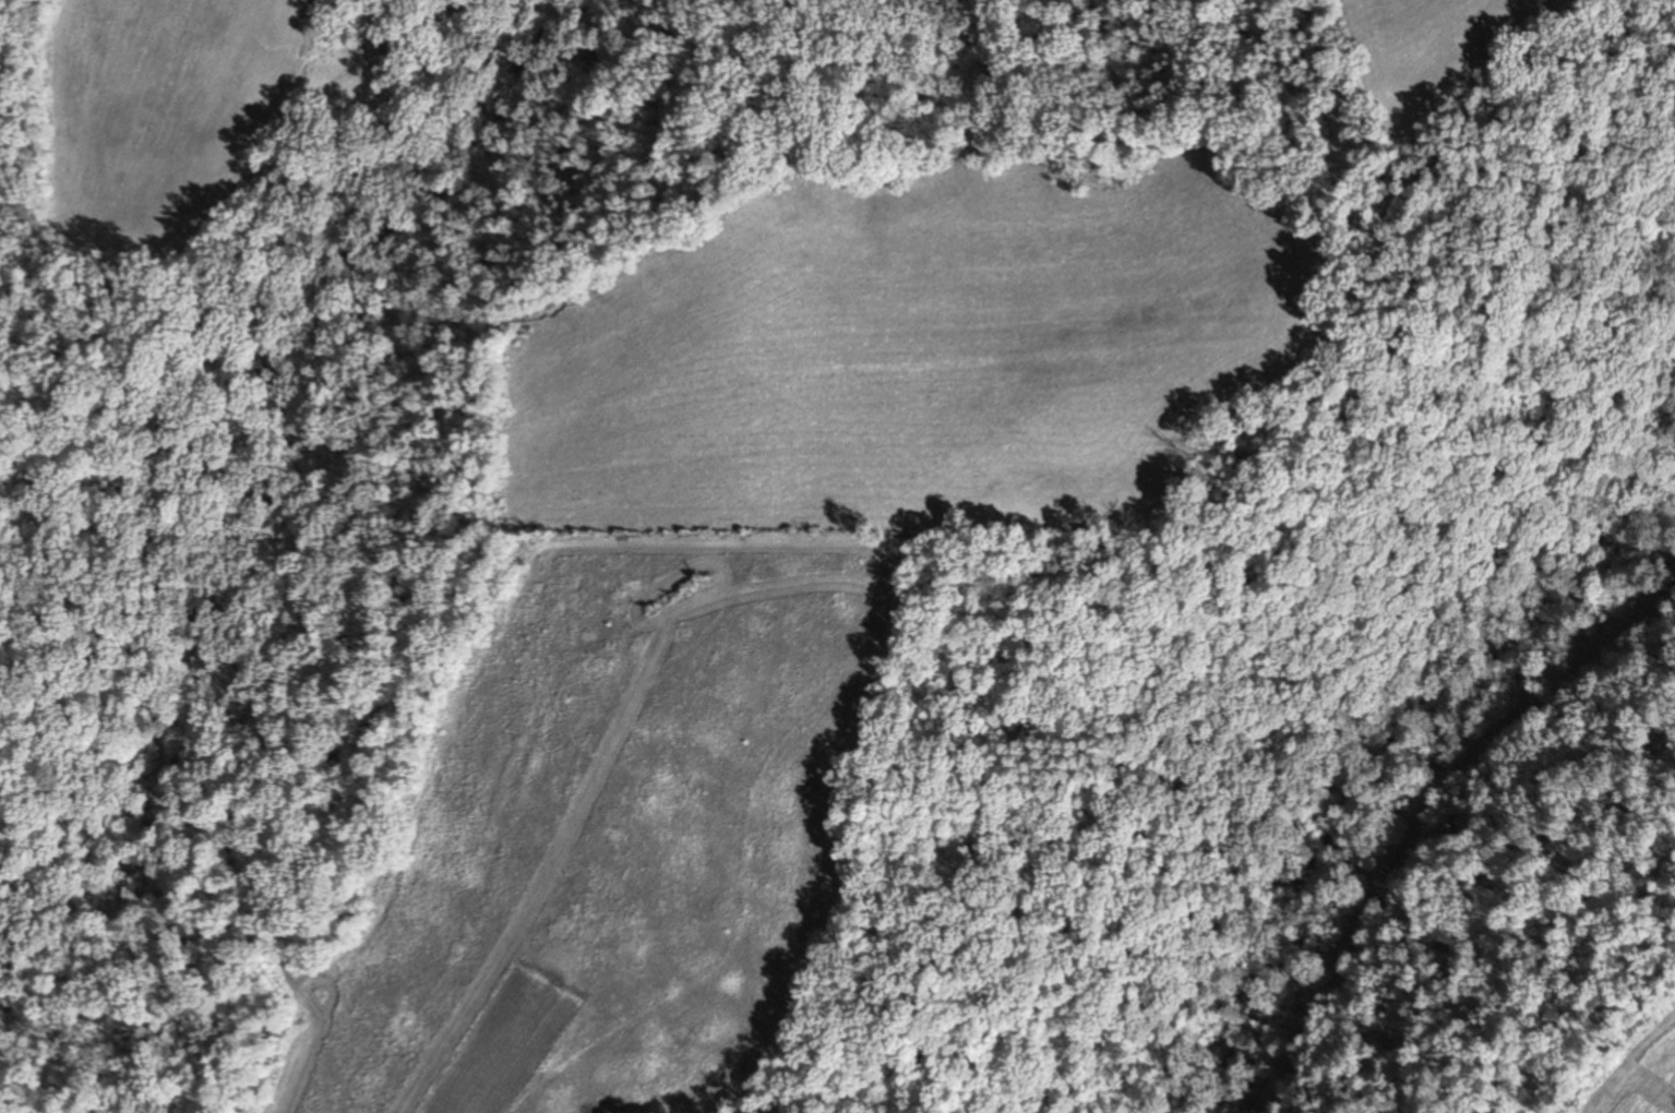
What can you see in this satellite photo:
road: (1460, 859)

